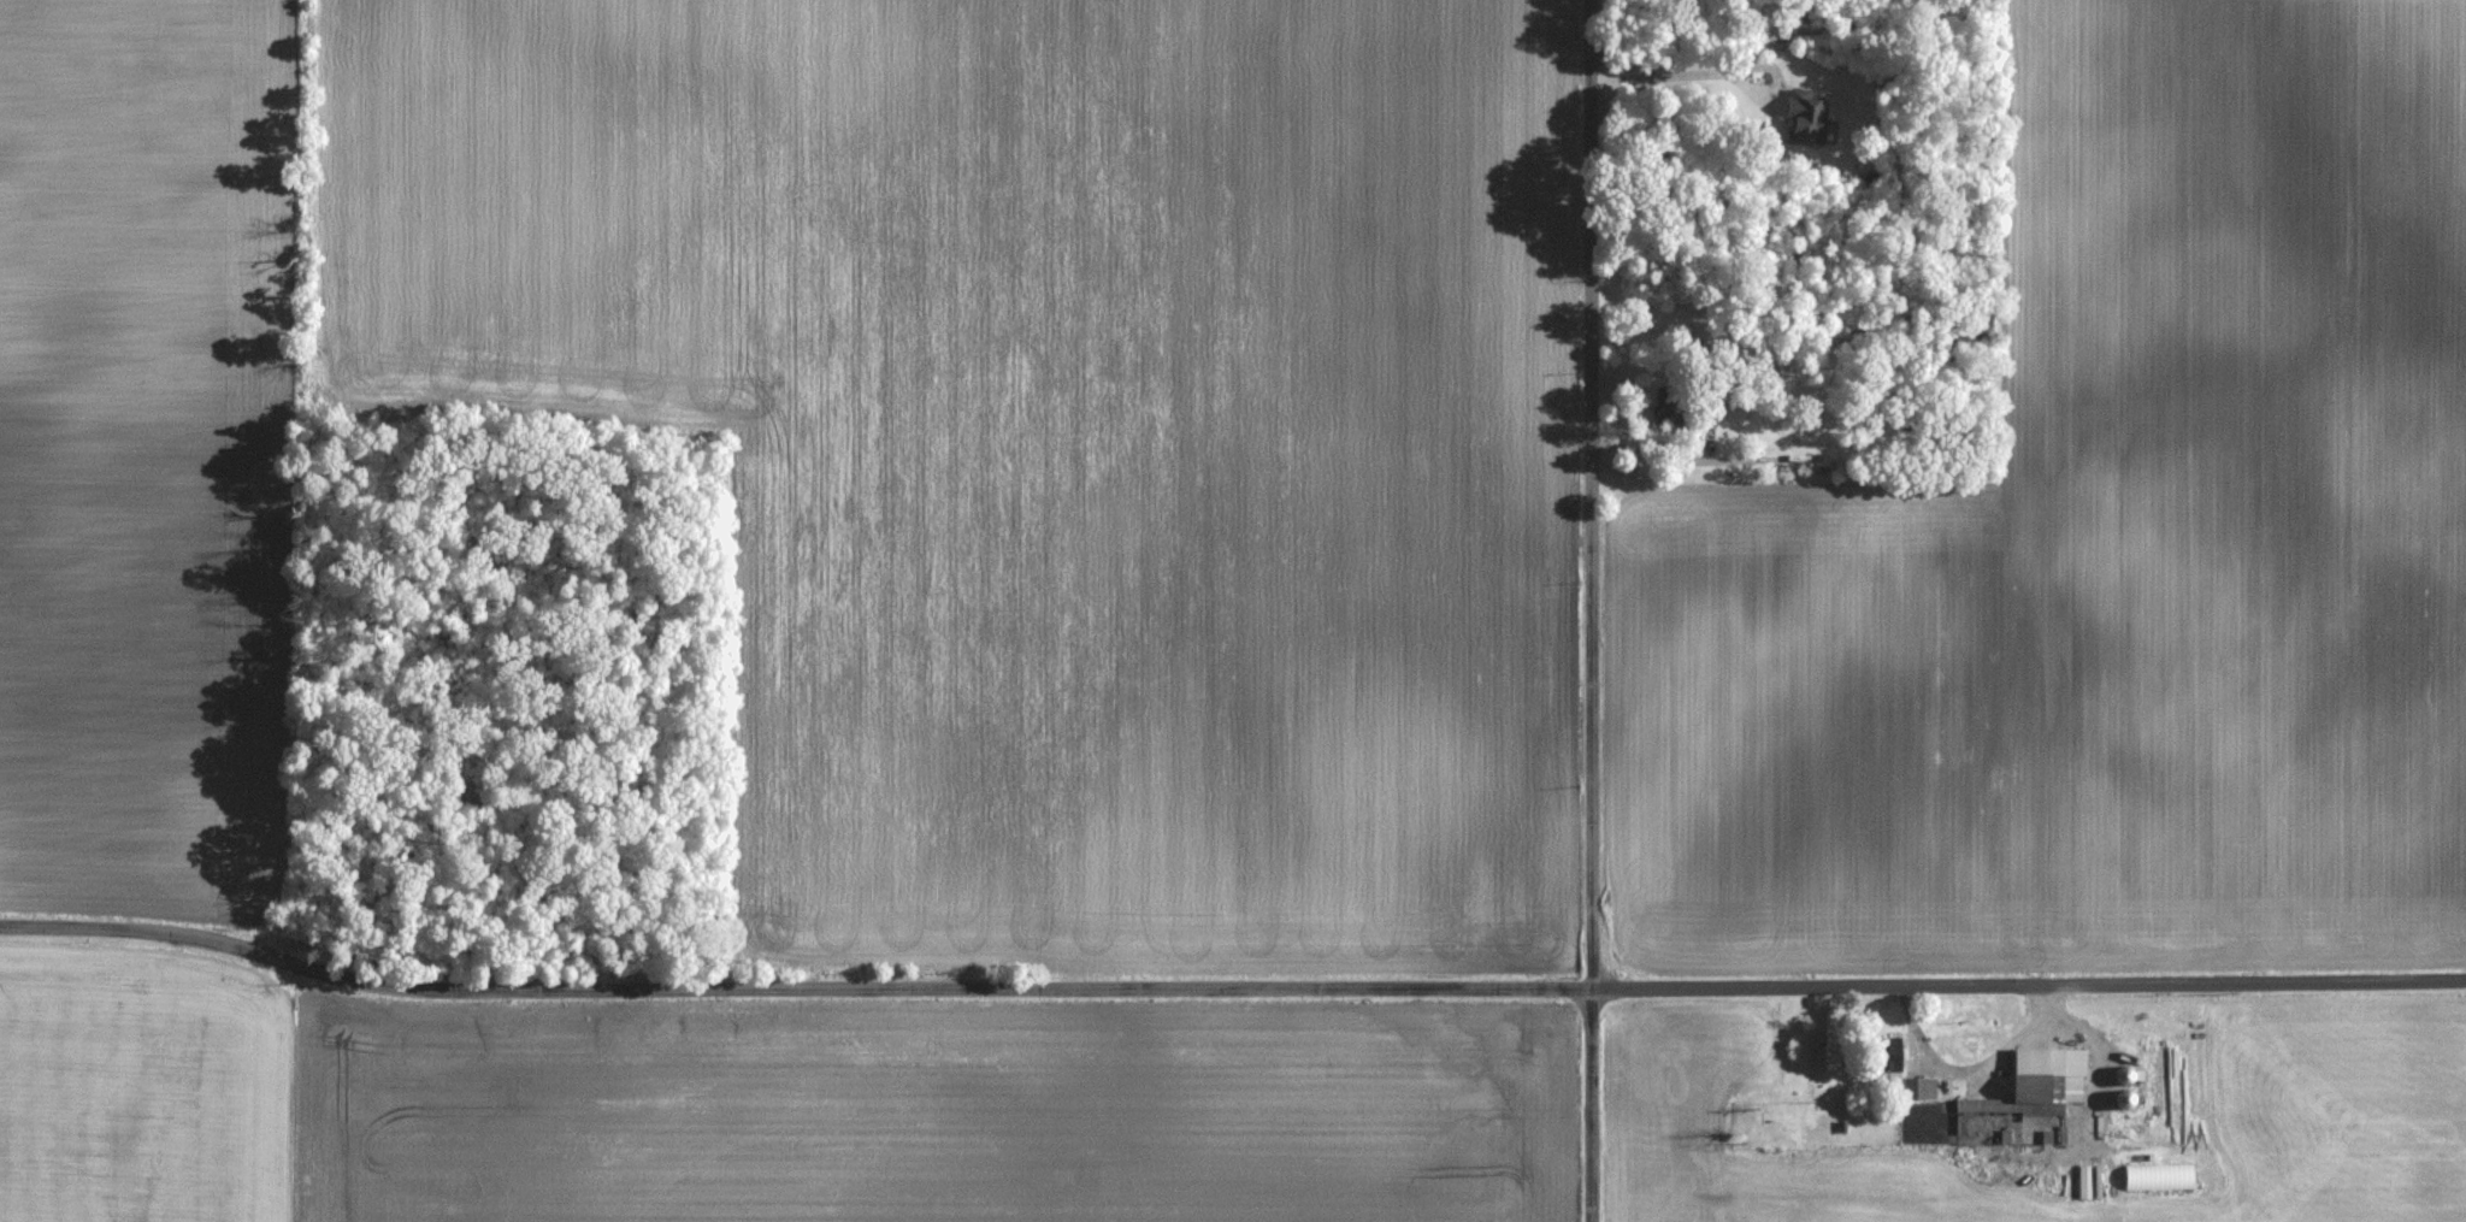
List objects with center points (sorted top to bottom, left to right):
road: (1719, 72)
building: (1806, 118)
building: (1670, 409)
building: (1706, 414)
road: (1592, 610)
road: (1228, 988)
building: (1899, 1072)
building: (2037, 1085)
building: (2158, 1177)

